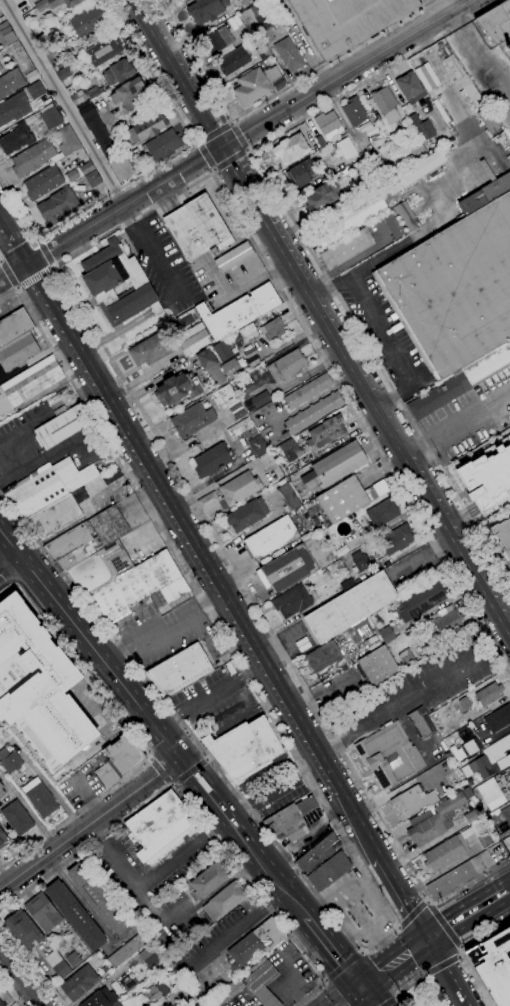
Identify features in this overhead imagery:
building: (184, 0)
building: (245, 2)
building: (54, 4)
road: (440, 7)
building: (23, 10)
building: (206, 10)
building: (247, 17)
building: (88, 20)
building: (347, 21)
building: (262, 22)
building: (498, 26)
building: (39, 33)
building: (6, 35)
building: (268, 38)
building: (219, 41)
building: (104, 51)
building: (56, 52)
building: (263, 52)
building: (289, 55)
building: (20, 57)
building: (233, 60)
road: (477, 63)
building: (1, 68)
building: (62, 73)
building: (118, 73)
building: (272, 74)
building: (32, 76)
building: (10, 82)
building: (252, 87)
building: (410, 88)
building: (35, 91)
building: (94, 92)
building: (75, 94)
building: (129, 94)
road: (273, 95)
road: (60, 103)
building: (385, 104)
building: (13, 109)
building: (85, 110)
building: (354, 112)
building: (49, 116)
building: (487, 120)
road: (229, 122)
building: (326, 122)
road: (232, 123)
building: (43, 124)
building: (147, 128)
building: (421, 128)
building: (96, 129)
road: (213, 131)
road: (239, 137)
road: (234, 138)
building: (16, 139)
road: (198, 141)
building: (320, 141)
building: (65, 143)
road: (197, 144)
building: (162, 145)
traffic signals: (222, 146)
building: (290, 149)
building: (346, 149)
building: (111, 150)
road: (247, 150)
road: (246, 152)
road: (205, 156)
road: (204, 157)
building: (32, 158)
road: (231, 162)
road: (156, 165)
building: (86, 168)
building: (124, 168)
road: (212, 170)
road: (215, 171)
building: (415, 171)
building: (303, 172)
building: (71, 175)
building: (93, 179)
building: (43, 182)
flagpole: (187, 193)
building: (321, 197)
road: (163, 199)
building: (58, 207)
building: (350, 218)
building: (393, 226)
building: (197, 228)
road: (302, 242)
road: (147, 247)
building: (347, 248)
road: (47, 251)
road: (254, 276)
road: (7, 278)
road: (36, 280)
building: (117, 284)
building: (454, 289)
road: (69, 294)
building: (238, 312)
road: (321, 314)
building: (14, 326)
building: (271, 328)
road: (377, 328)
building: (249, 333)
building: (236, 338)
building: (193, 339)
building: (150, 350)
building: (17, 352)
building: (221, 352)
building: (205, 359)
building: (285, 365)
building: (231, 369)
building: (215, 375)
building: (462, 381)
building: (29, 383)
building: (178, 389)
building: (307, 391)
building: (260, 399)
building: (228, 402)
building: (312, 414)
building: (192, 420)
road: (457, 424)
building: (61, 427)
road: (23, 428)
building: (242, 429)
building: (326, 431)
building: (257, 446)
building: (288, 449)
road: (53, 452)
building: (212, 460)
building: (331, 468)
road: (8, 479)
building: (48, 486)
building: (239, 488)
building: (288, 497)
building: (342, 500)
building: (210, 506)
building: (382, 513)
building: (246, 515)
building: (54, 517)
building: (345, 528)
building: (503, 536)
building: (270, 538)
building: (87, 539)
building: (396, 540)
building: (318, 551)
building: (425, 551)
road: (429, 557)
building: (360, 562)
building: (509, 564)
road: (9, 565)
building: (99, 568)
building: (287, 569)
road: (213, 580)
road: (4, 581)
building: (347, 585)
building: (137, 588)
building: (291, 601)
building: (420, 601)
building: (350, 607)
building: (447, 622)
road: (160, 626)
road: (75, 630)
building: (359, 631)
building: (386, 634)
building: (409, 655)
building: (323, 656)
building: (182, 668)
building: (375, 668)
building: (38, 689)
building: (488, 694)
road: (208, 696)
road: (397, 701)
building: (464, 703)
road: (246, 716)
building: (497, 719)
building: (419, 723)
road: (133, 739)
road: (205, 739)
road: (164, 744)
building: (472, 746)
building: (244, 749)
road: (189, 751)
building: (389, 755)
building: (119, 760)
road: (149, 760)
traffic signals: (177, 760)
building: (490, 760)
building: (9, 761)
road: (207, 761)
road: (160, 771)
road: (190, 773)
road: (190, 773)
road: (261, 773)
road: (193, 778)
road: (170, 784)
road: (173, 786)
road: (273, 790)
building: (1, 791)
building: (490, 793)
building: (39, 798)
building: (412, 801)
road: (27, 811)
road: (192, 814)
building: (500, 815)
building: (470, 817)
building: (17, 818)
building: (290, 820)
building: (436, 821)
road: (88, 823)
building: (158, 825)
building: (3, 839)
building: (485, 839)
building: (506, 839)
building: (318, 853)
building: (443, 854)
road: (362, 869)
building: (329, 871)
road: (149, 879)
building: (450, 880)
building: (208, 881)
road: (508, 888)
road: (284, 895)
building: (97, 898)
road: (79, 899)
building: (224, 900)
road: (426, 902)
road: (430, 904)
building: (42, 912)
road: (467, 912)
road: (412, 914)
building: (75, 915)
gas station: (365, 916)
road: (443, 926)
road: (232, 928)
road: (398, 928)
building: (23, 929)
road: (484, 932)
traffic signals: (430, 938)
road: (116, 939)
building: (255, 943)
building: (128, 949)
road: (360, 951)
road: (460, 952)
building: (150, 956)
building: (72, 959)
building: (57, 964)
road: (396, 964)
road: (342, 965)
road: (31, 966)
road: (441, 966)
building: (493, 966)
road: (450, 971)
road: (425, 976)
road: (324, 978)
road: (20, 979)
road: (474, 980)
building: (79, 983)
building: (128, 983)
road: (324, 983)
building: (262, 984)
road: (409, 987)
building: (154, 991)
traffic signals: (362, 991)
road: (10, 992)
building: (226, 992)
park: (419, 993)
road: (334, 995)
road: (351, 998)
road: (368, 998)
road: (394, 998)
building: (99, 999)
road: (389, 1002)
road: (398, 1002)
building: (1, 1004)
building: (116, 1004)

